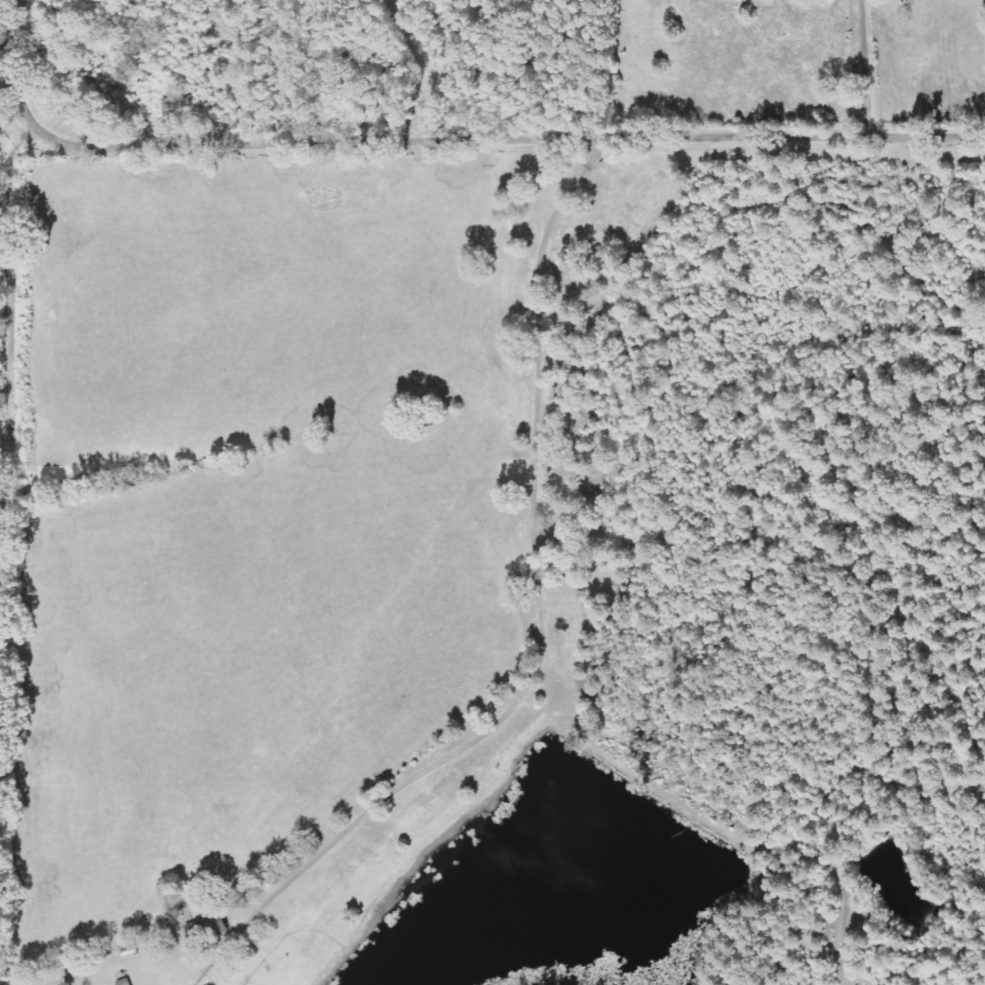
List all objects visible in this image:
road: (437, 169)
road: (517, 619)
building: (209, 928)
building: (125, 982)

